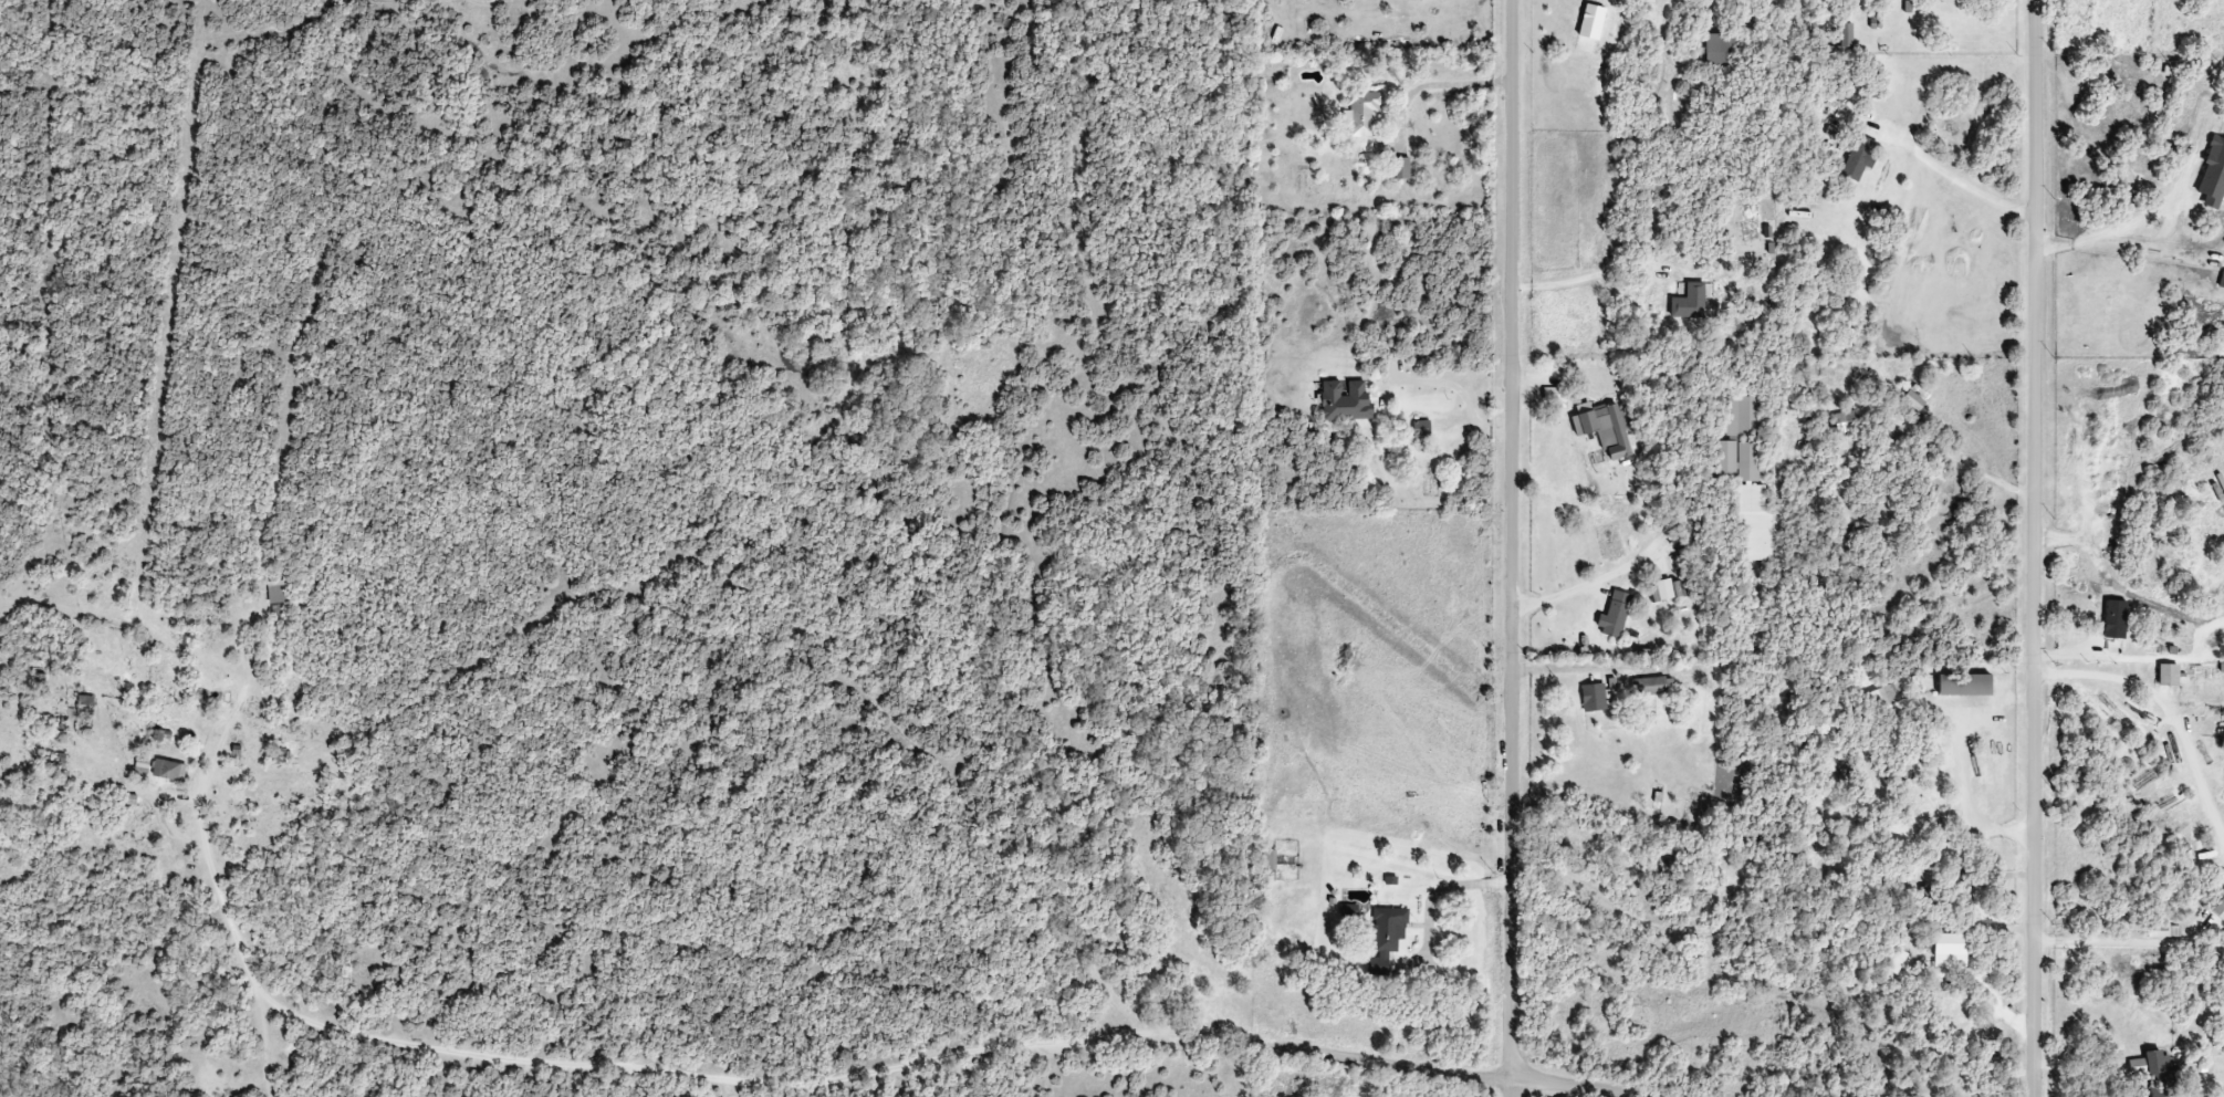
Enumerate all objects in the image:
building: (1590, 22)
building: (1842, 42)
building: (1720, 50)
road: (1433, 84)
building: (1362, 114)
building: (1859, 158)
building: (1400, 168)
building: (2212, 176)
road: (1964, 185)
road: (2118, 229)
building: (2221, 279)
road: (1579, 280)
building: (1689, 302)
building: (1816, 367)
building: (1555, 395)
road: (1461, 396)
building: (1912, 400)
building: (1345, 401)
building: (1845, 422)
building: (1421, 429)
building: (1605, 429)
building: (1745, 478)
road: (1992, 479)
road: (2037, 547)
road: (1511, 548)
road: (1606, 574)
building: (1664, 591)
building: (278, 592)
building: (1614, 615)
road: (1976, 630)
road: (1563, 666)
building: (2168, 675)
building: (1964, 685)
building: (1649, 687)
building: (1595, 698)
building: (1883, 698)
road: (2166, 708)
building: (142, 766)
building: (167, 770)
building: (1907, 770)
road: (1546, 838)
building: (1268, 860)
road: (1426, 906)
building: (2218, 909)
building: (1387, 929)
building: (2163, 931)
road: (2131, 943)
road: (2004, 959)
building: (1894, 961)
building: (1946, 961)
building: (1377, 963)
road: (525, 1062)
road: (1396, 1063)
road: (2096, 1093)

